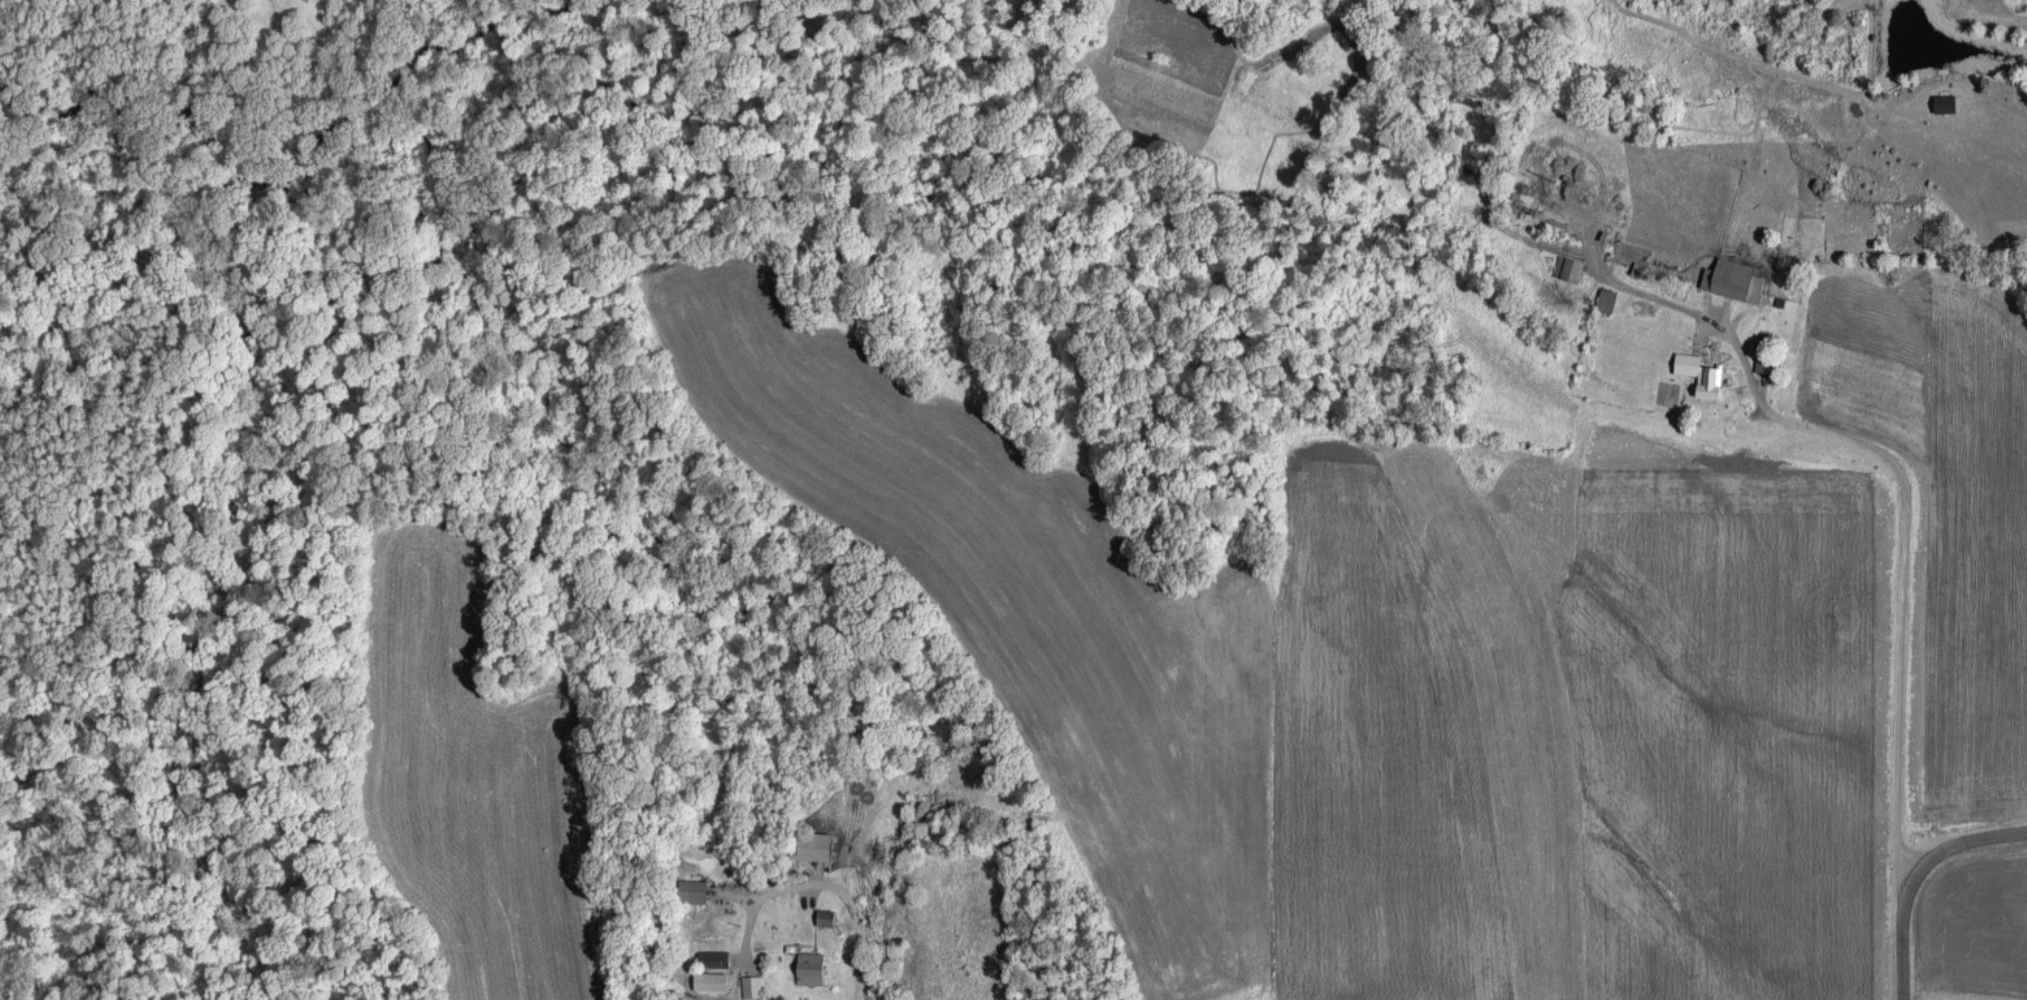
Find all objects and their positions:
building: (1570, 267)
building: (1734, 279)
building: (1607, 299)
building: (1764, 364)
building: (1701, 373)
road: (1905, 544)
road: (1961, 837)
building: (816, 846)
road: (823, 883)
building: (693, 890)
building: (825, 916)
road: (1903, 937)
building: (715, 957)
building: (811, 967)
building: (715, 980)
building: (753, 985)

